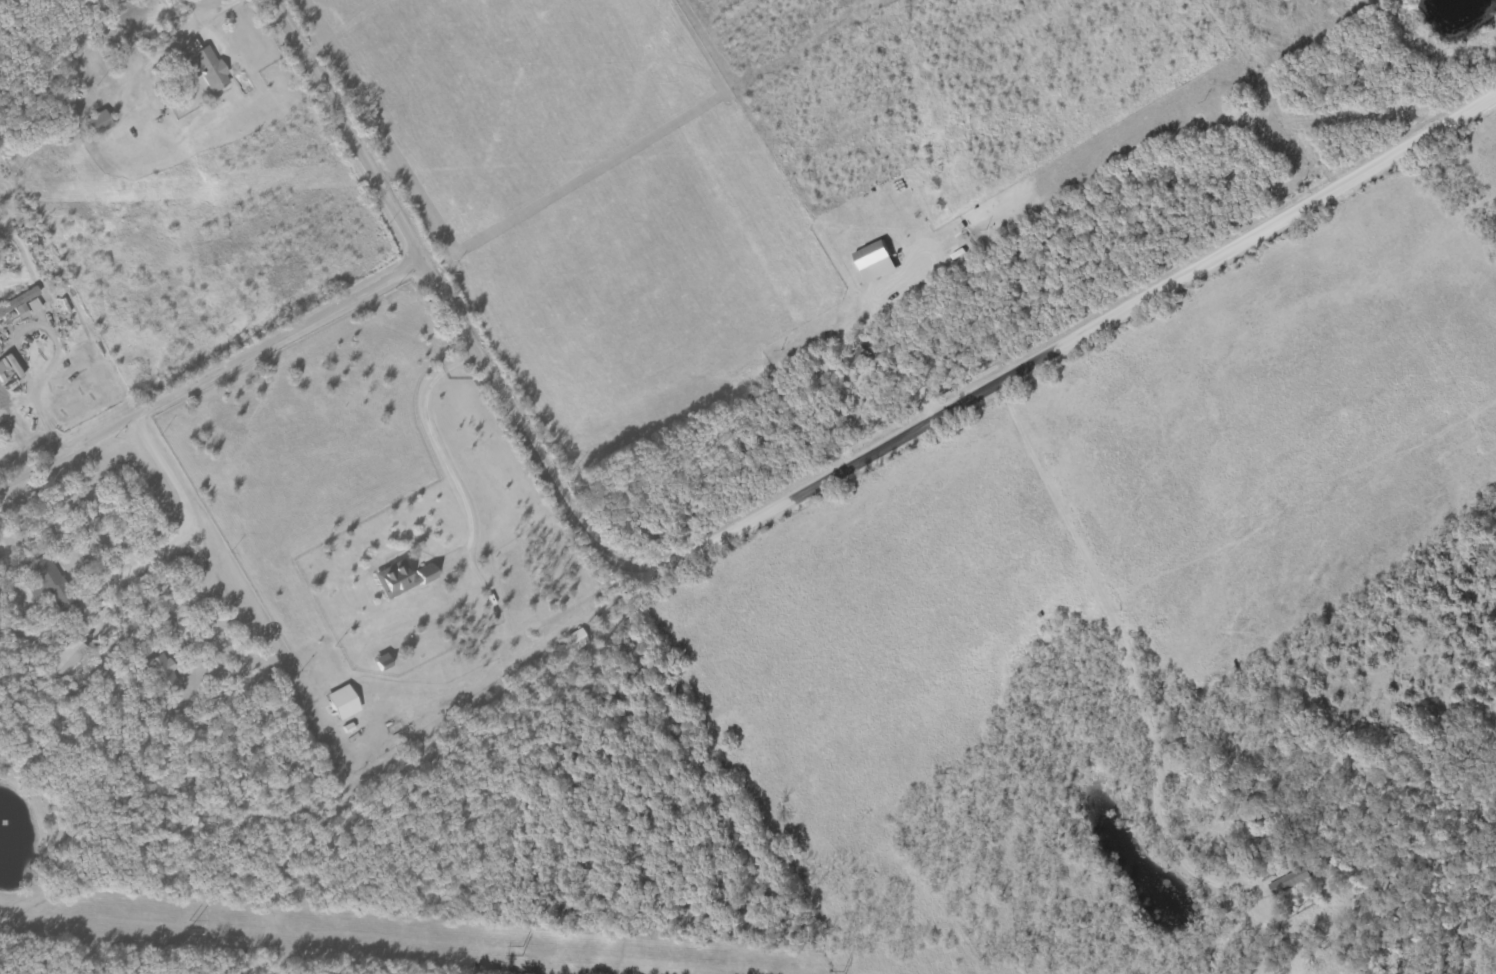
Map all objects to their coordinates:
building: (205, 66)
building: (97, 123)
building: (872, 262)
building: (22, 305)
building: (856, 361)
building: (8, 369)
road: (210, 376)
road: (770, 513)
building: (399, 580)
building: (51, 587)
building: (68, 658)
building: (164, 672)
building: (340, 704)
road: (260, 707)
building: (1289, 882)
power tower: (193, 924)
power tower: (519, 950)

